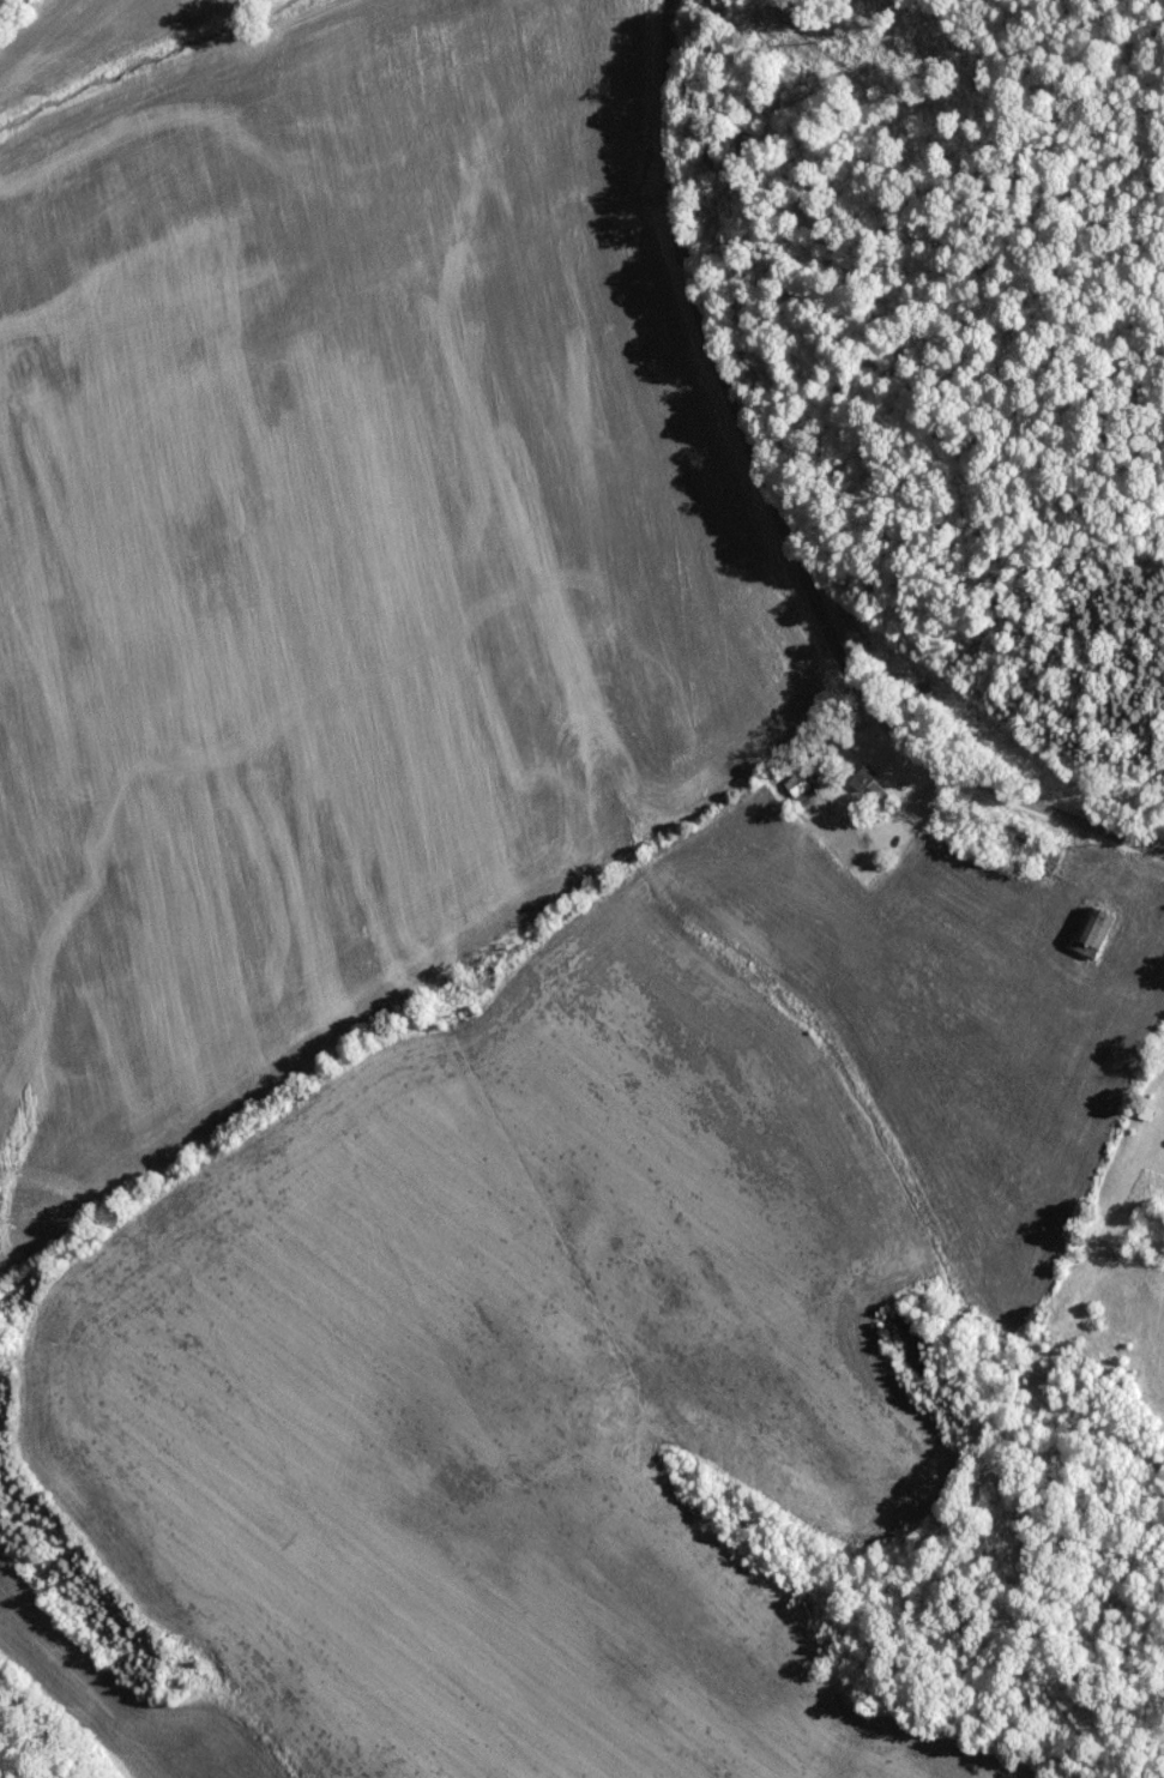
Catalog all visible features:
road: (780, 519)
building: (861, 773)
building: (792, 784)
building: (1084, 930)

